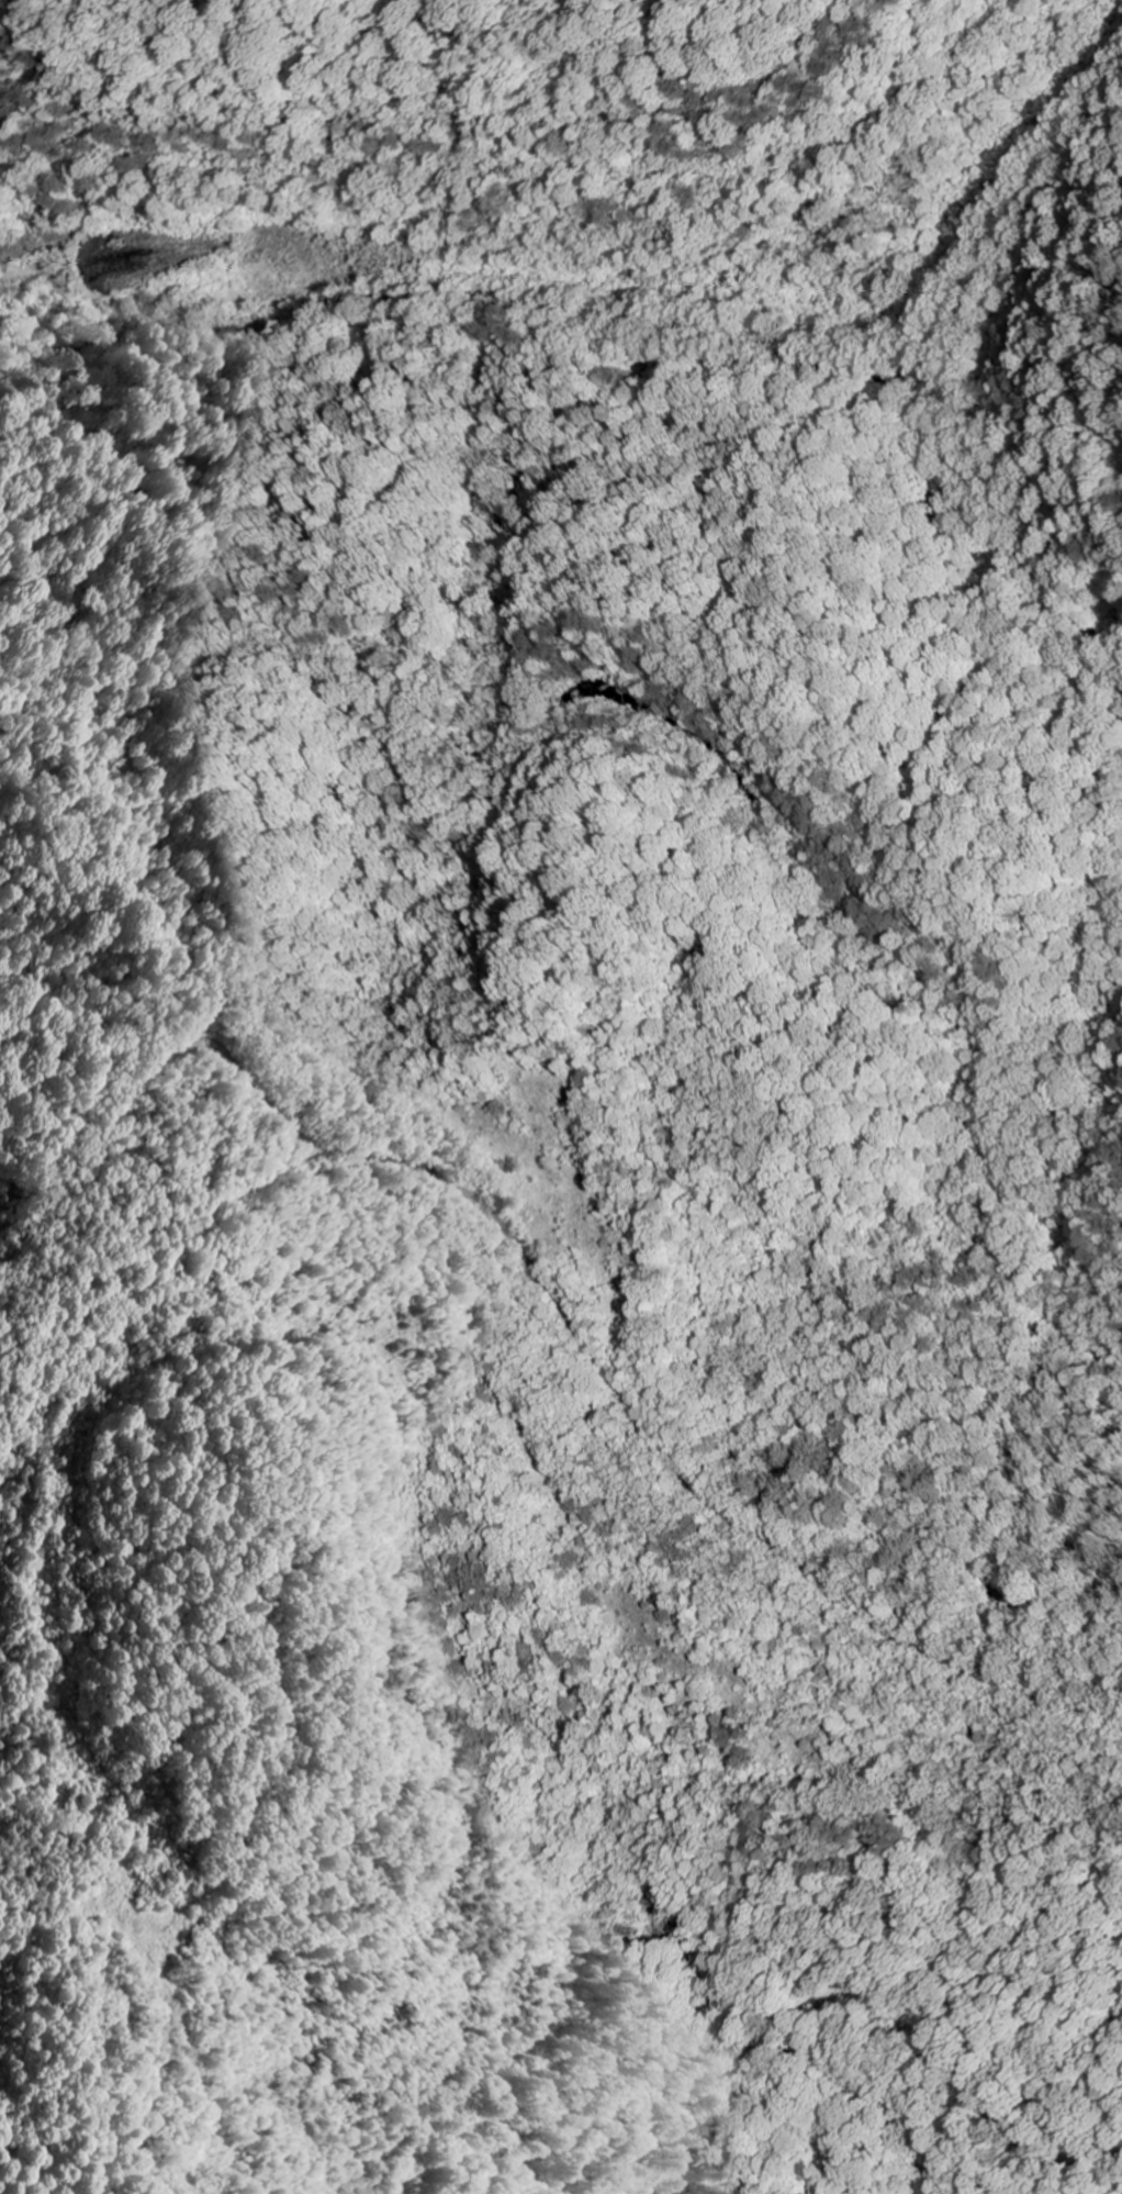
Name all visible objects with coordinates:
road: (542, 1285)

